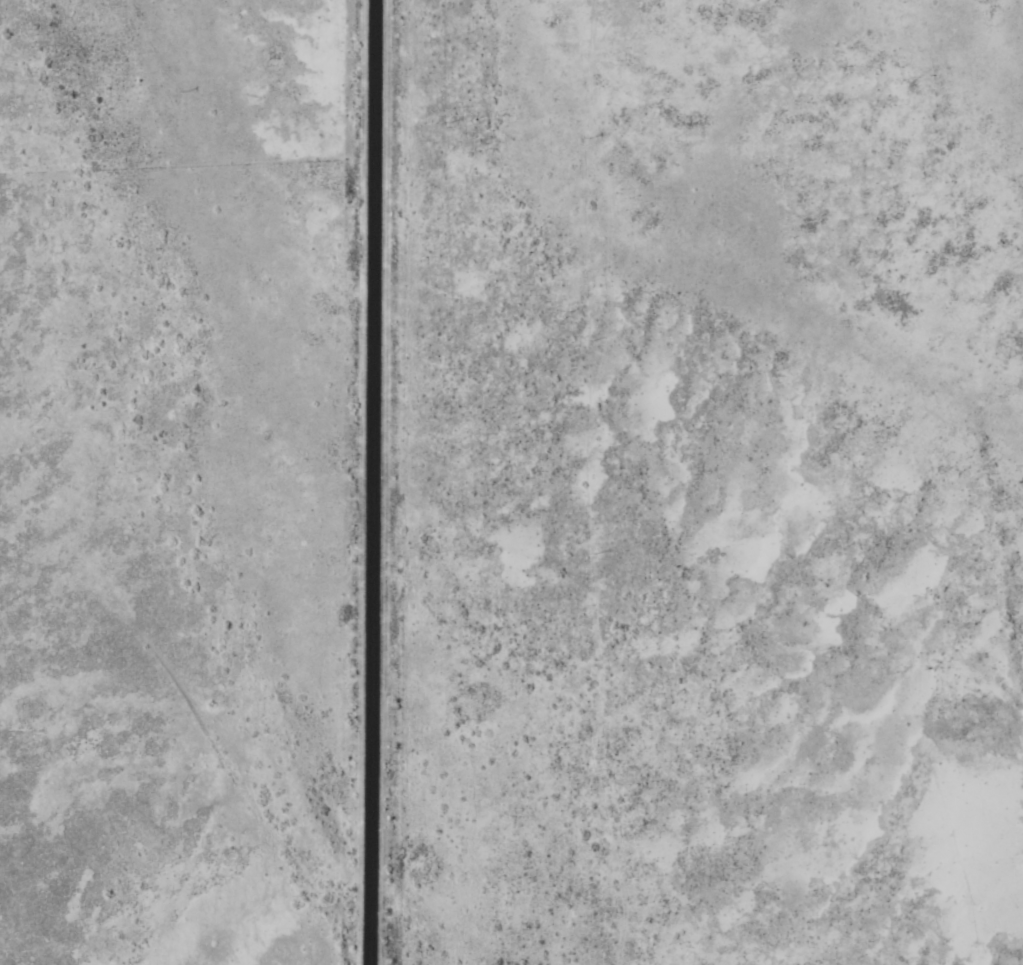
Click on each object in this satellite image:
road: (370, 482)

